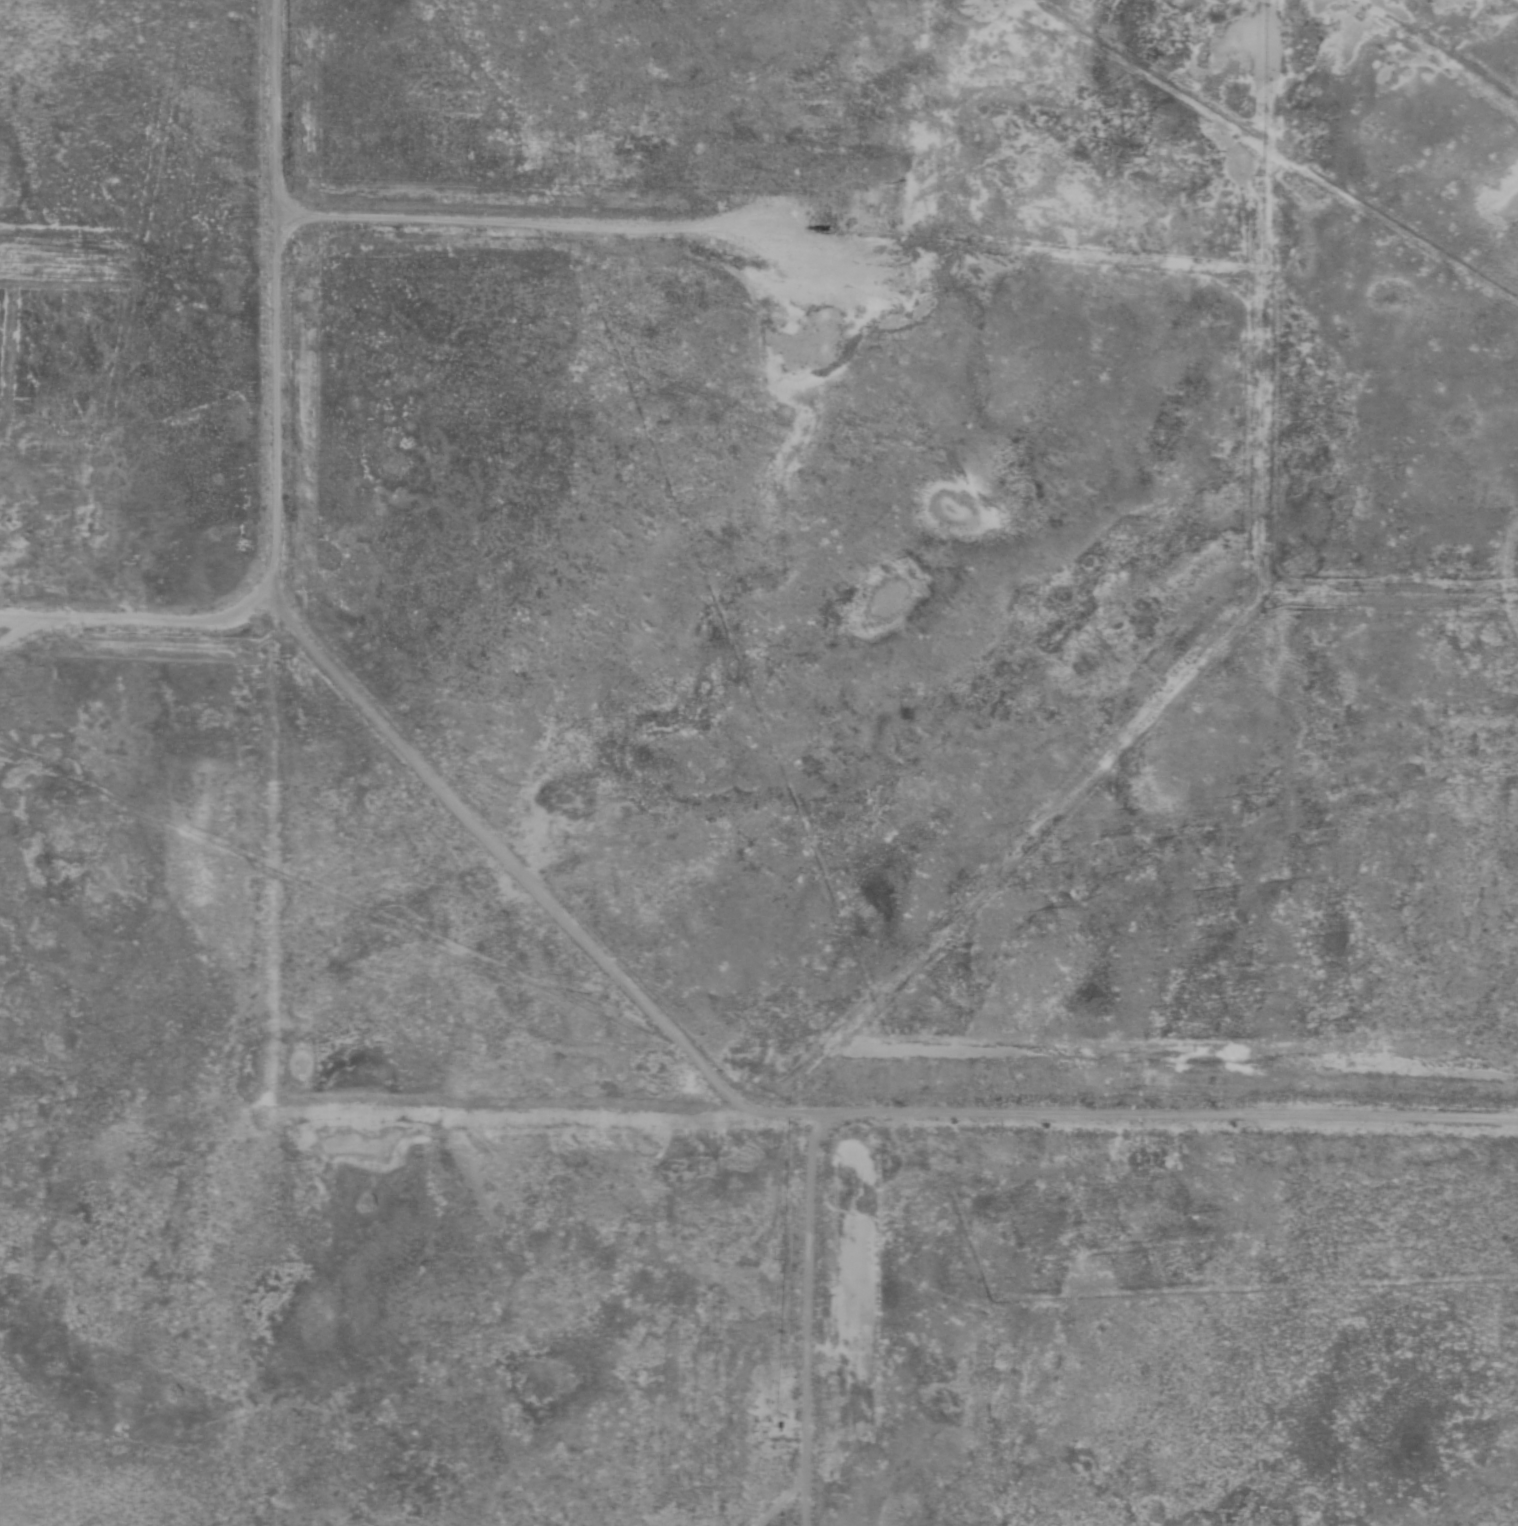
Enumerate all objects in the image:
road: (43, 621)
road: (170, 624)
road: (301, 636)
road: (641, 1113)

